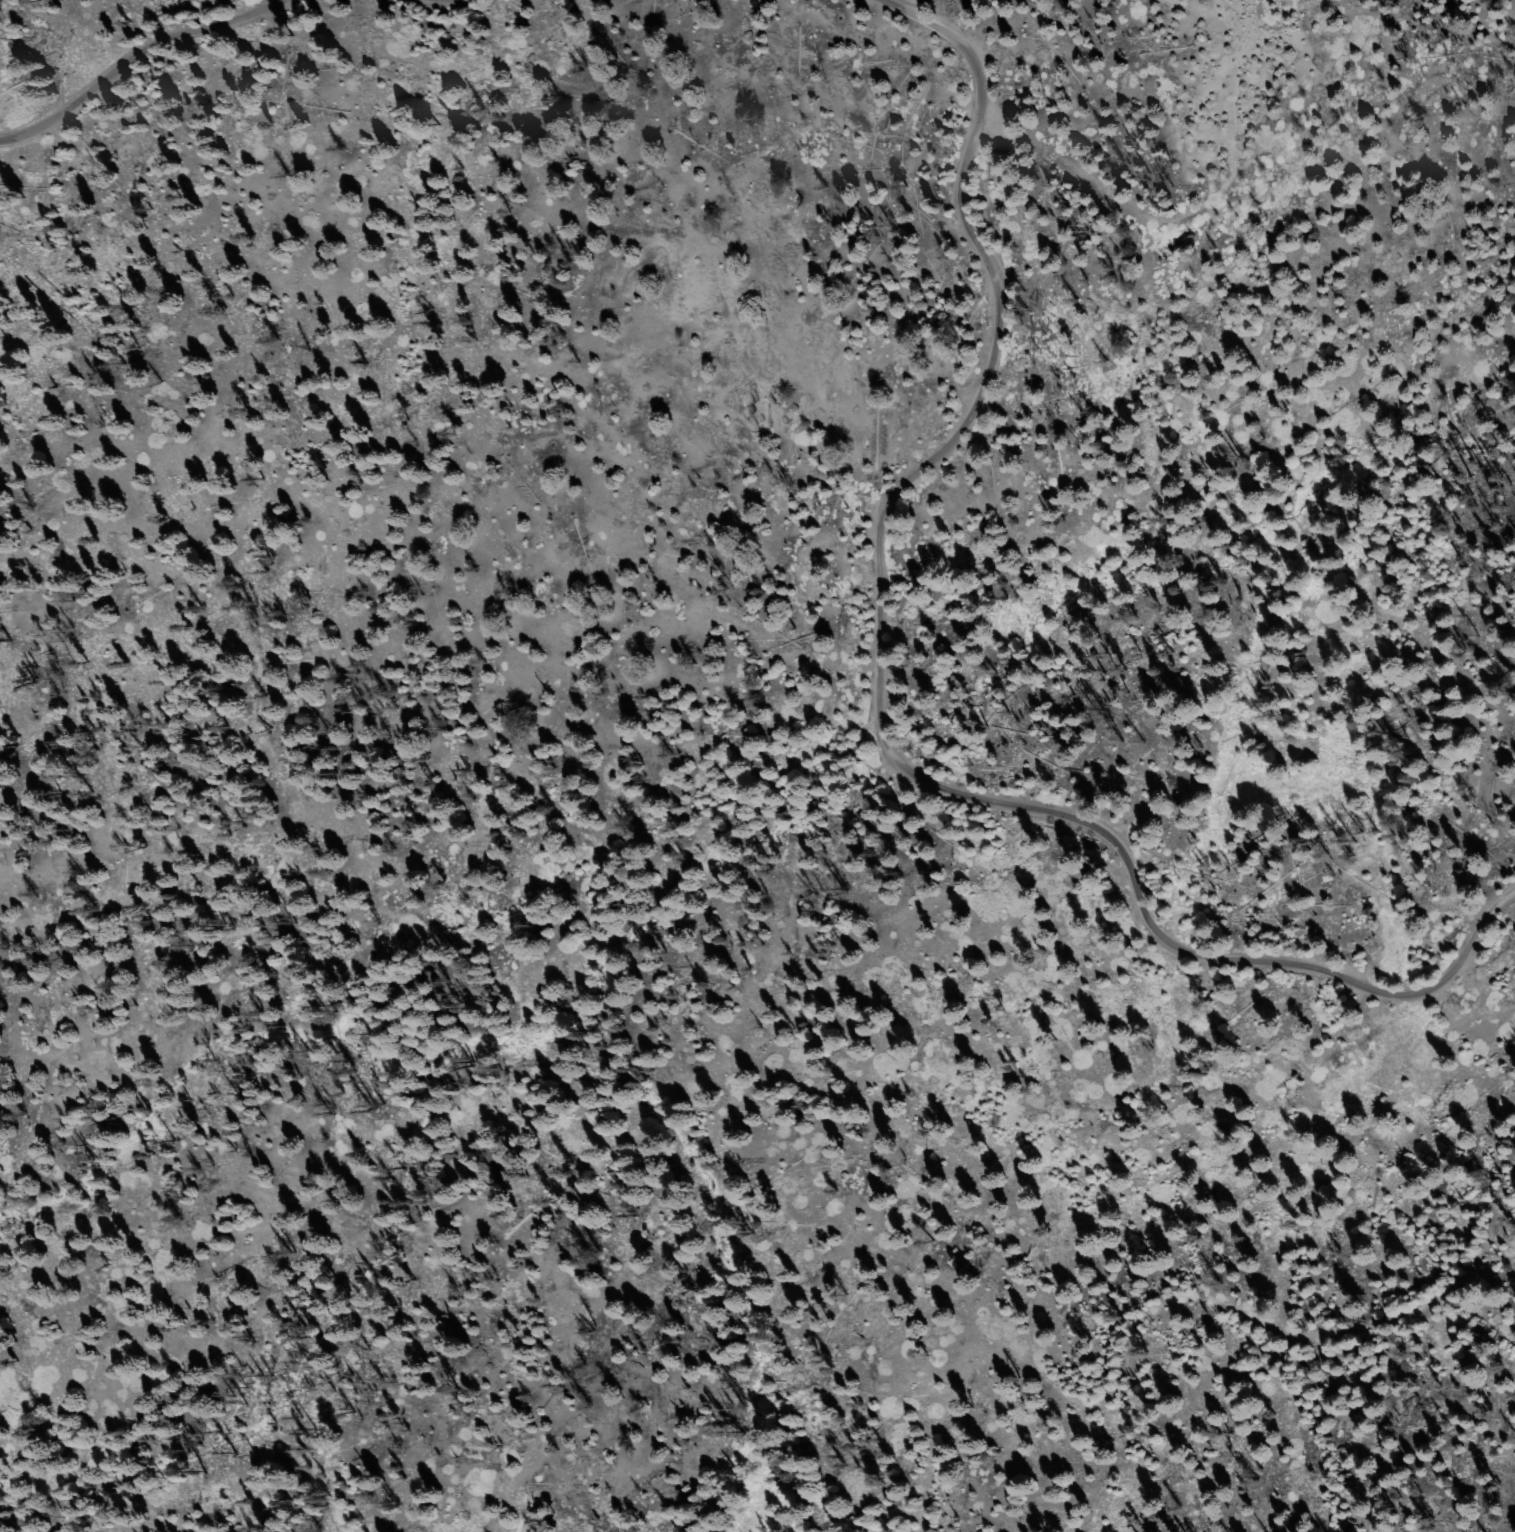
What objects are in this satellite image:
road: (136, 54)
quarry: (1228, 86)
road: (875, 713)
road: (964, 1450)
road: (76, 1531)

